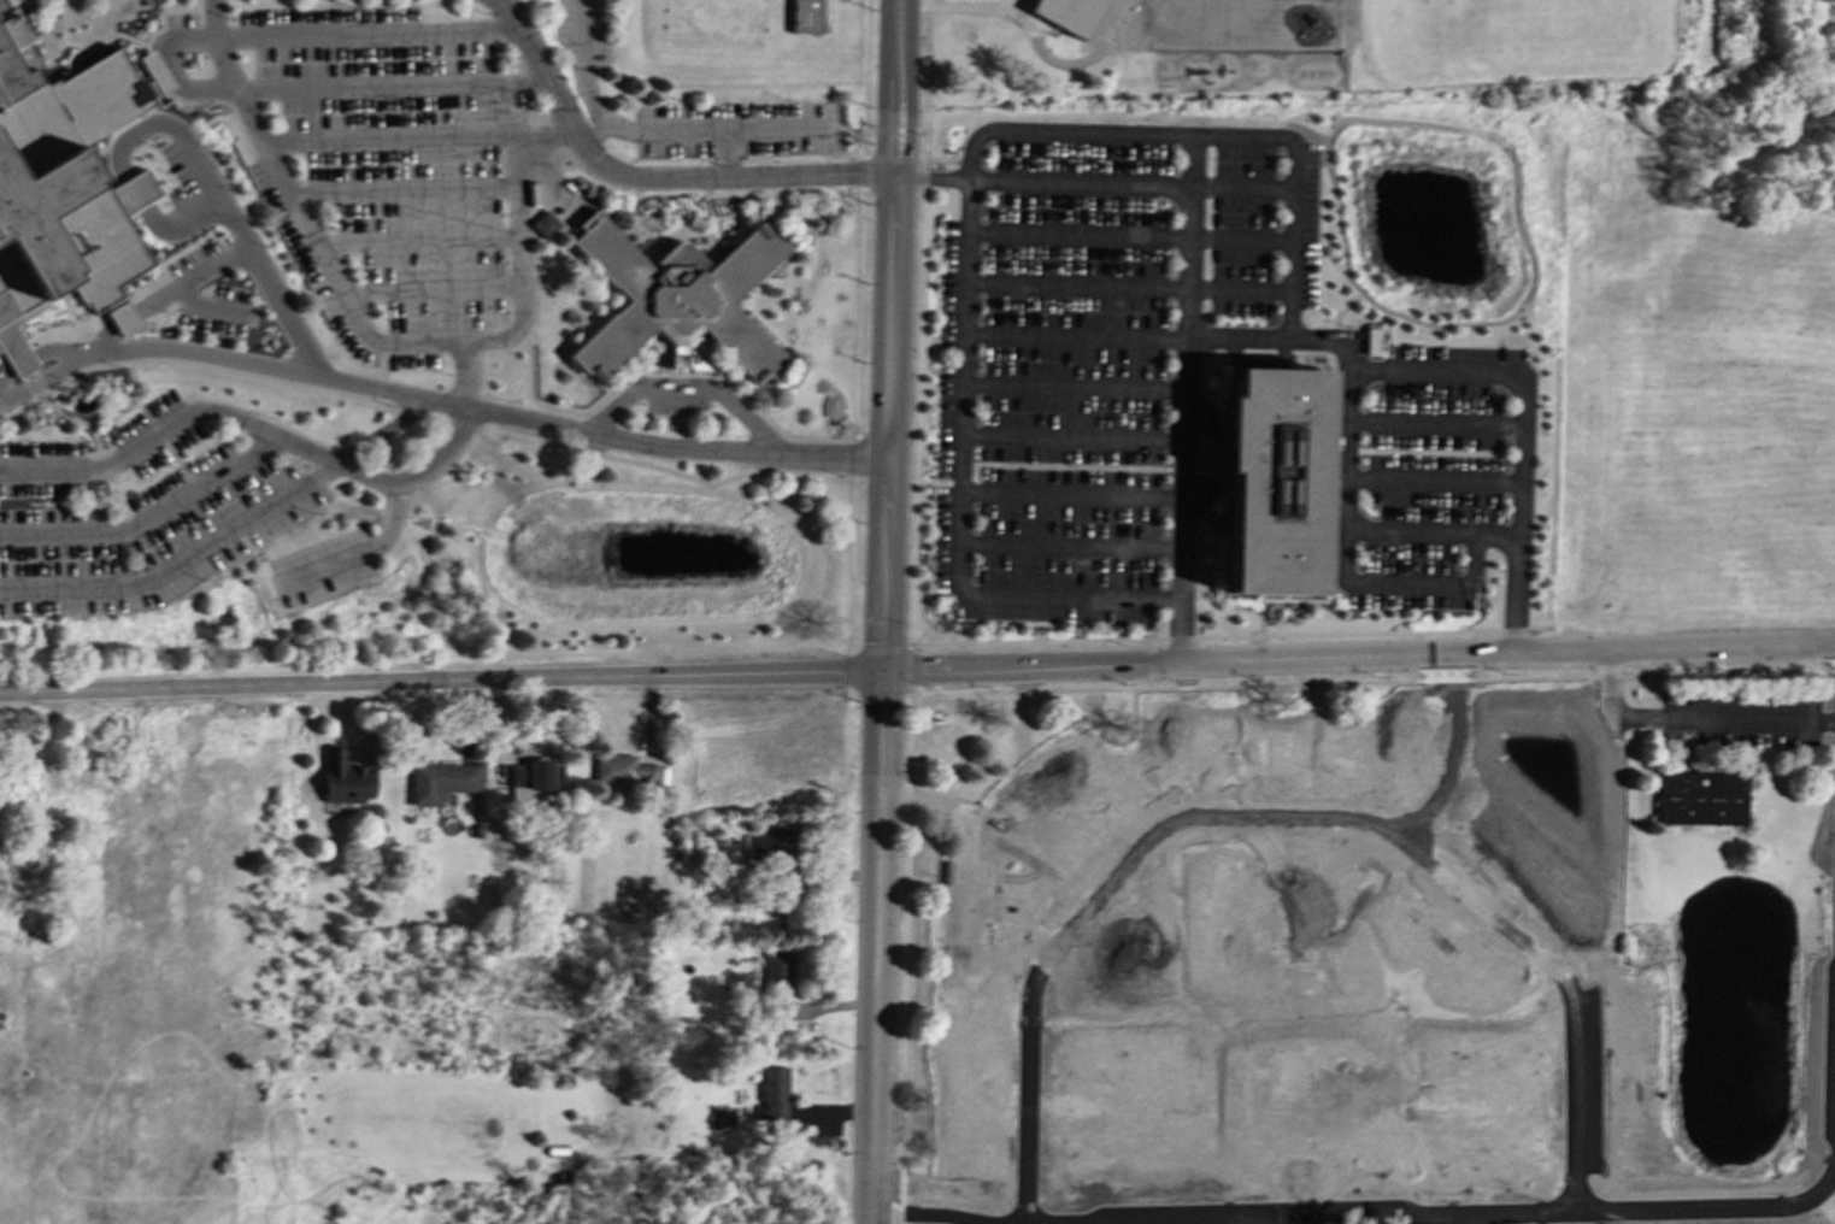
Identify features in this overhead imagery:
building: (1066, 13)
building: (805, 16)
road: (865, 64)
road: (588, 123)
road: (566, 125)
road: (653, 128)
road: (894, 129)
road: (919, 130)
road: (849, 133)
road: (864, 137)
road: (727, 151)
road: (1207, 154)
road: (889, 158)
road: (947, 160)
road: (1510, 166)
road: (183, 171)
road: (866, 172)
road: (651, 175)
road: (930, 175)
road: (1077, 182)
road: (1207, 187)
building: (49, 195)
road: (1206, 212)
road: (964, 216)
building: (543, 224)
road: (1076, 231)
road: (1206, 237)
road: (1205, 264)
road: (1075, 284)
road: (1204, 289)
building: (678, 298)
road: (1204, 310)
road: (919, 320)
road: (857, 337)
road: (1204, 341)
road: (376, 342)
road: (1292, 352)
road: (381, 355)
building: (687, 359)
road: (181, 364)
road: (227, 367)
road: (1370, 367)
road: (378, 373)
road: (661, 373)
road: (461, 375)
road: (6, 384)
road: (31, 384)
road: (133, 386)
road: (376, 388)
road: (686, 392)
road: (1186, 398)
road: (381, 407)
road: (406, 412)
road: (96, 417)
road: (431, 417)
road: (77, 419)
road: (461, 423)
road: (155, 430)
road: (249, 430)
road: (1151, 436)
road: (1422, 452)
road: (672, 459)
road: (1040, 464)
road: (102, 466)
road: (183, 472)
road: (745, 472)
building: (1272, 479)
road: (1070, 499)
road: (113, 502)
road: (145, 517)
road: (1069, 546)
road: (358, 555)
road: (175, 563)
road: (1347, 571)
road: (883, 611)
road: (935, 614)
road: (1228, 635)
road: (882, 647)
road: (907, 667)
road: (917, 671)
road: (1372, 682)
road: (1186, 720)
road: (1722, 720)
building: (622, 770)
building: (533, 776)
building: (342, 778)
road: (1312, 779)
building: (440, 781)
building: (1701, 799)
road: (952, 804)
road: (1018, 810)
building: (693, 843)
building: (770, 846)
road: (1281, 926)
road: (905, 935)
road: (965, 957)
road: (1014, 970)
building: (778, 973)
road: (1599, 990)
road: (1354, 1016)
building: (771, 1093)
road: (946, 1112)
building: (792, 1131)
road: (1052, 1149)
road: (1172, 1191)
road: (921, 1220)

